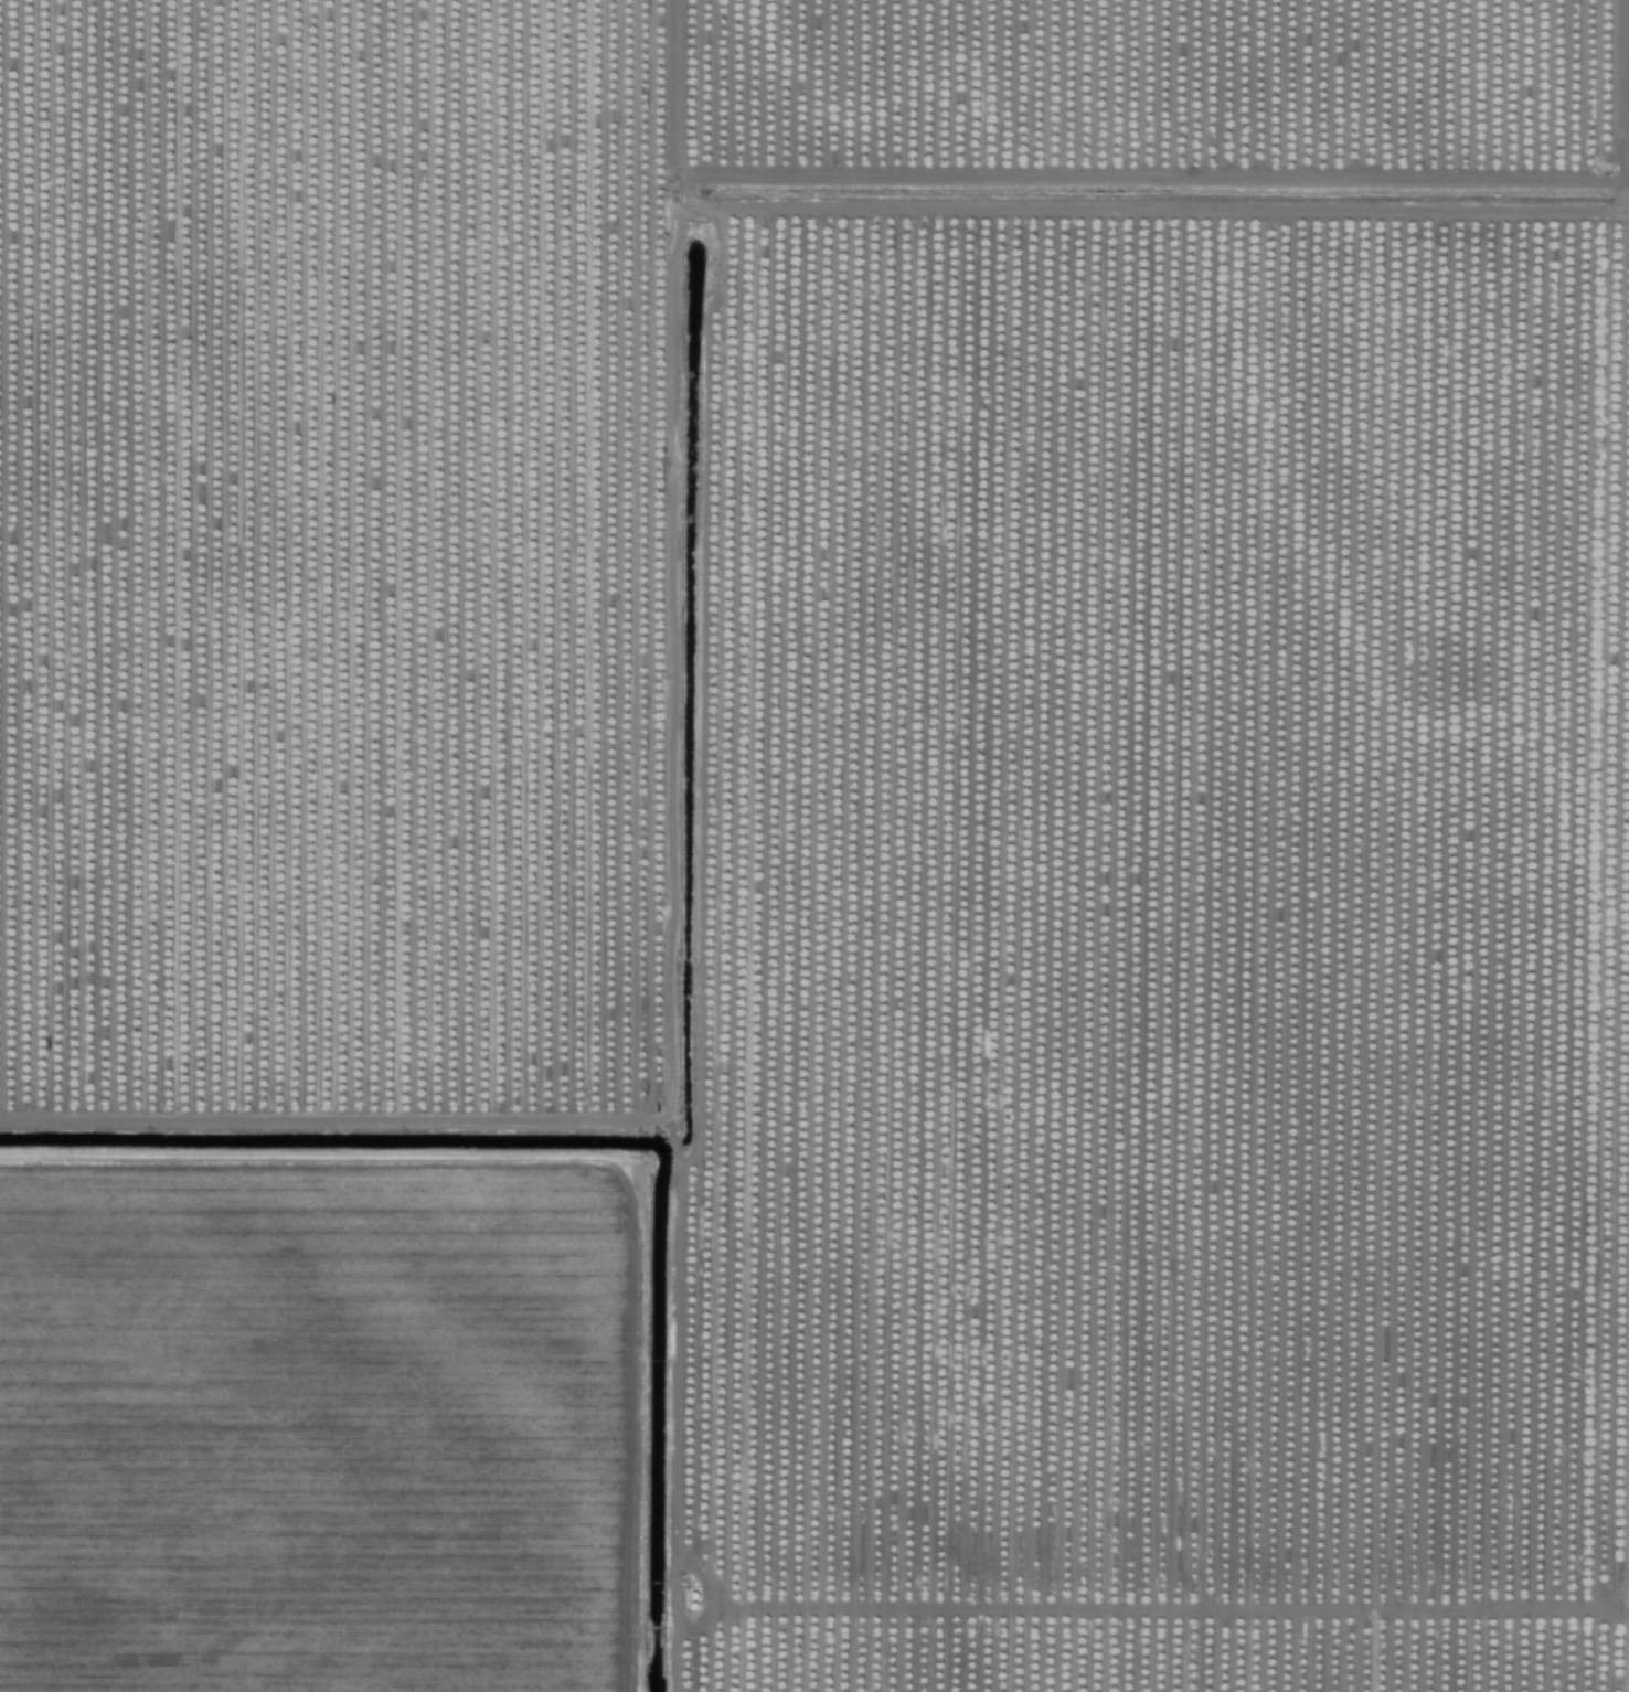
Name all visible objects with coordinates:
road: (669, 528)
road: (1622, 845)
road: (1151, 1607)

